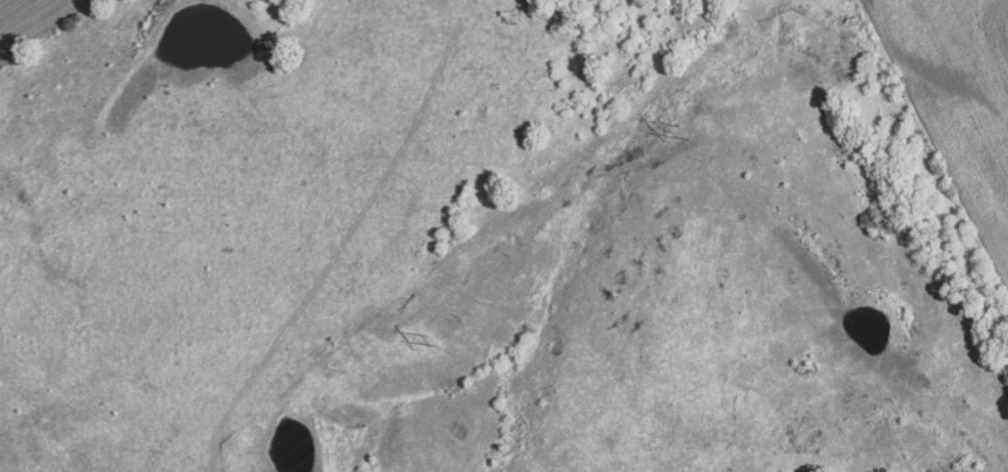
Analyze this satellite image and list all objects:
power tower: (696, 129)
power tower: (433, 341)

